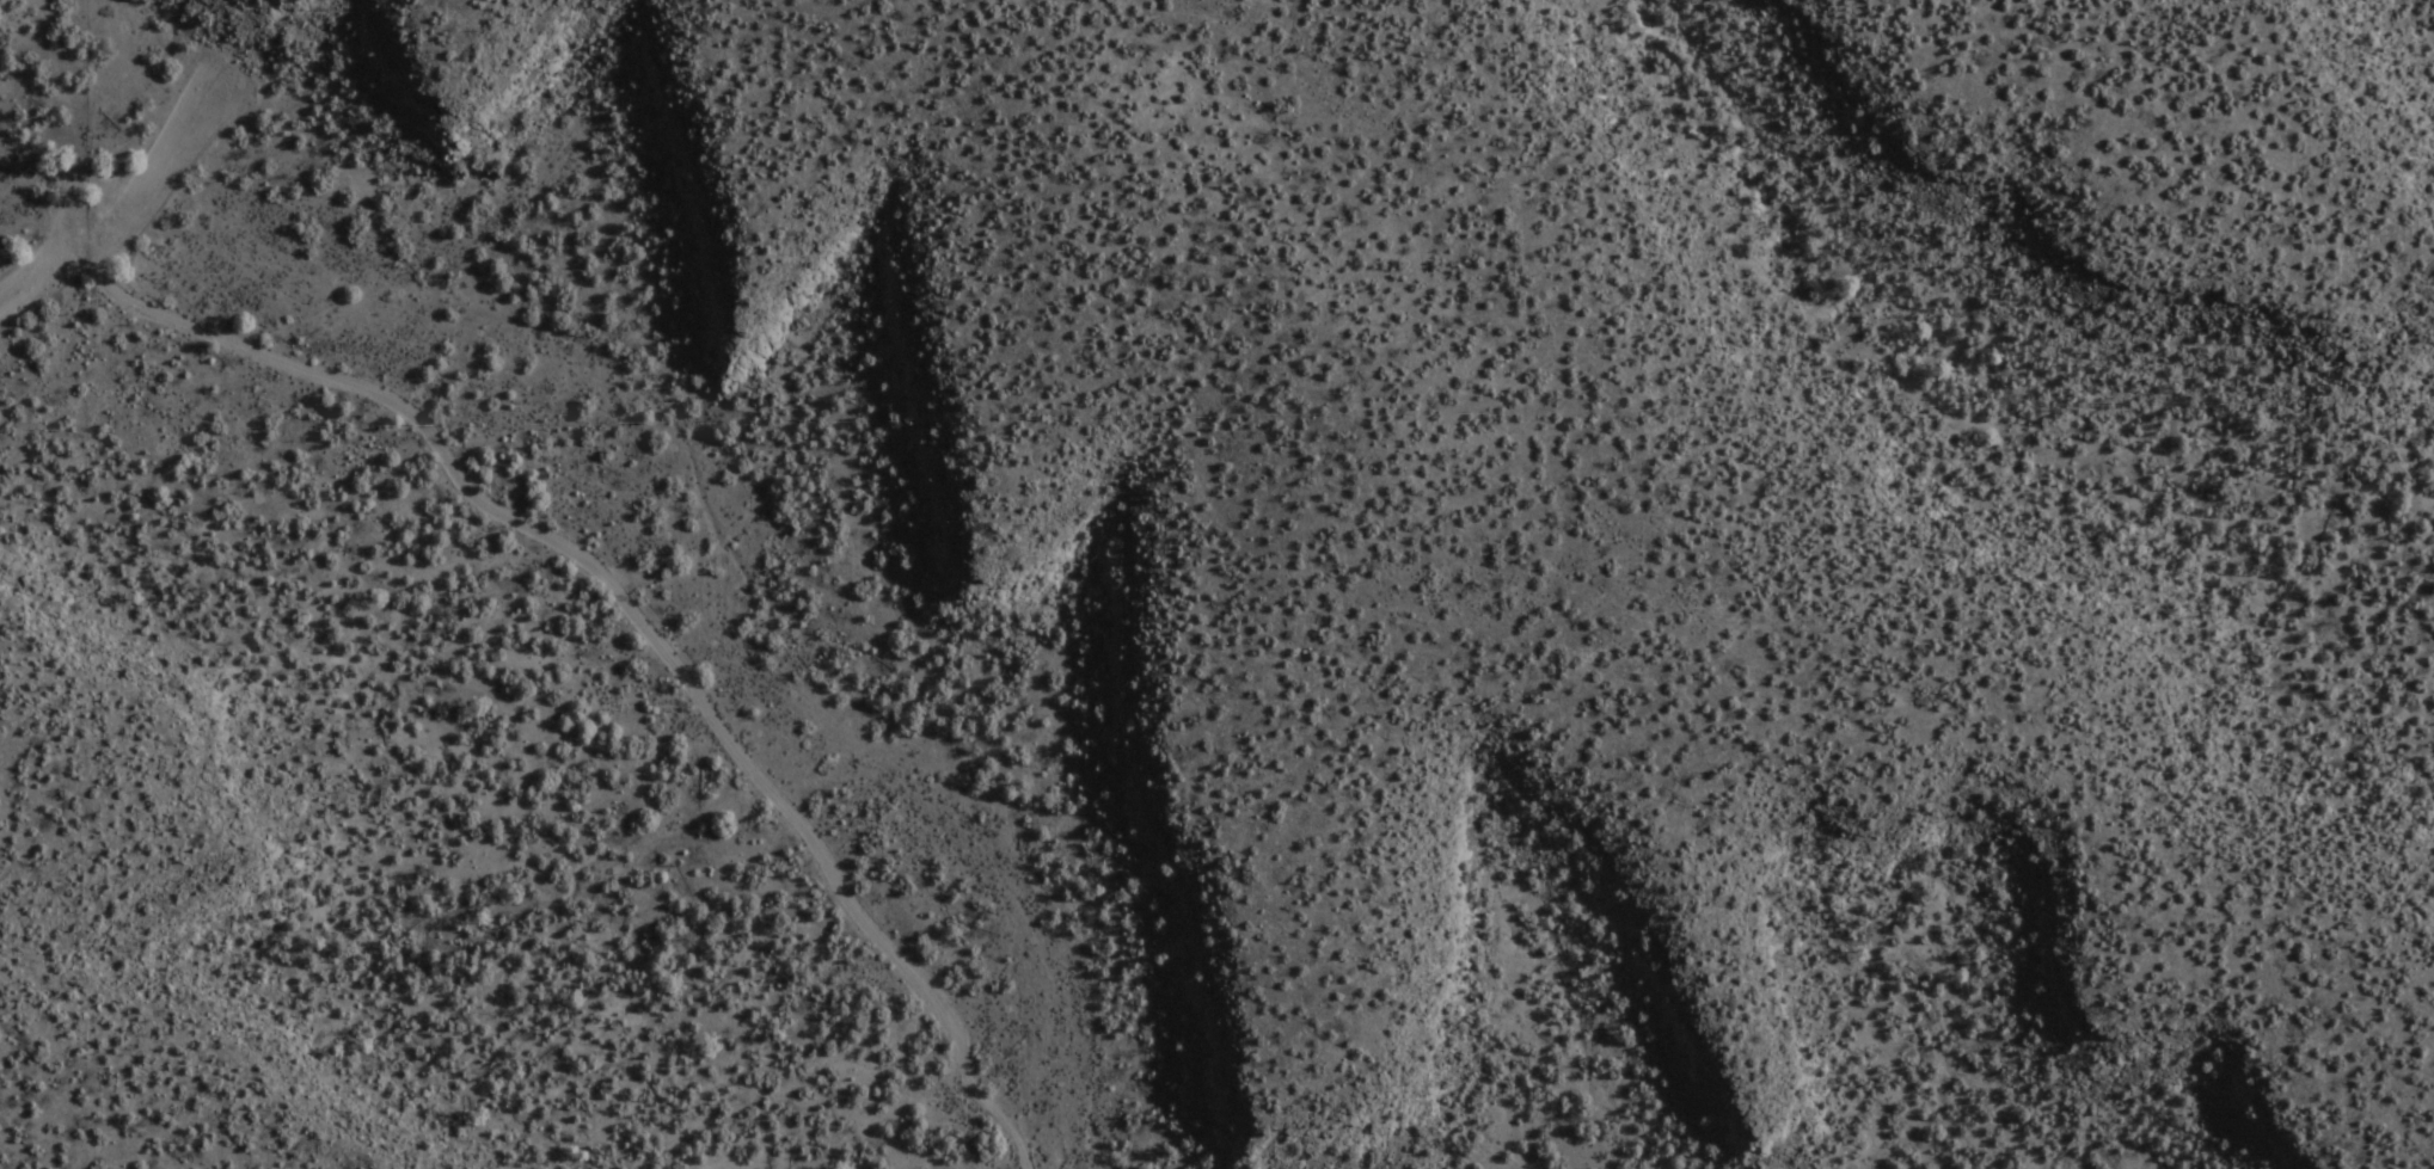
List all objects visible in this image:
road: (29, 273)
road: (637, 610)

